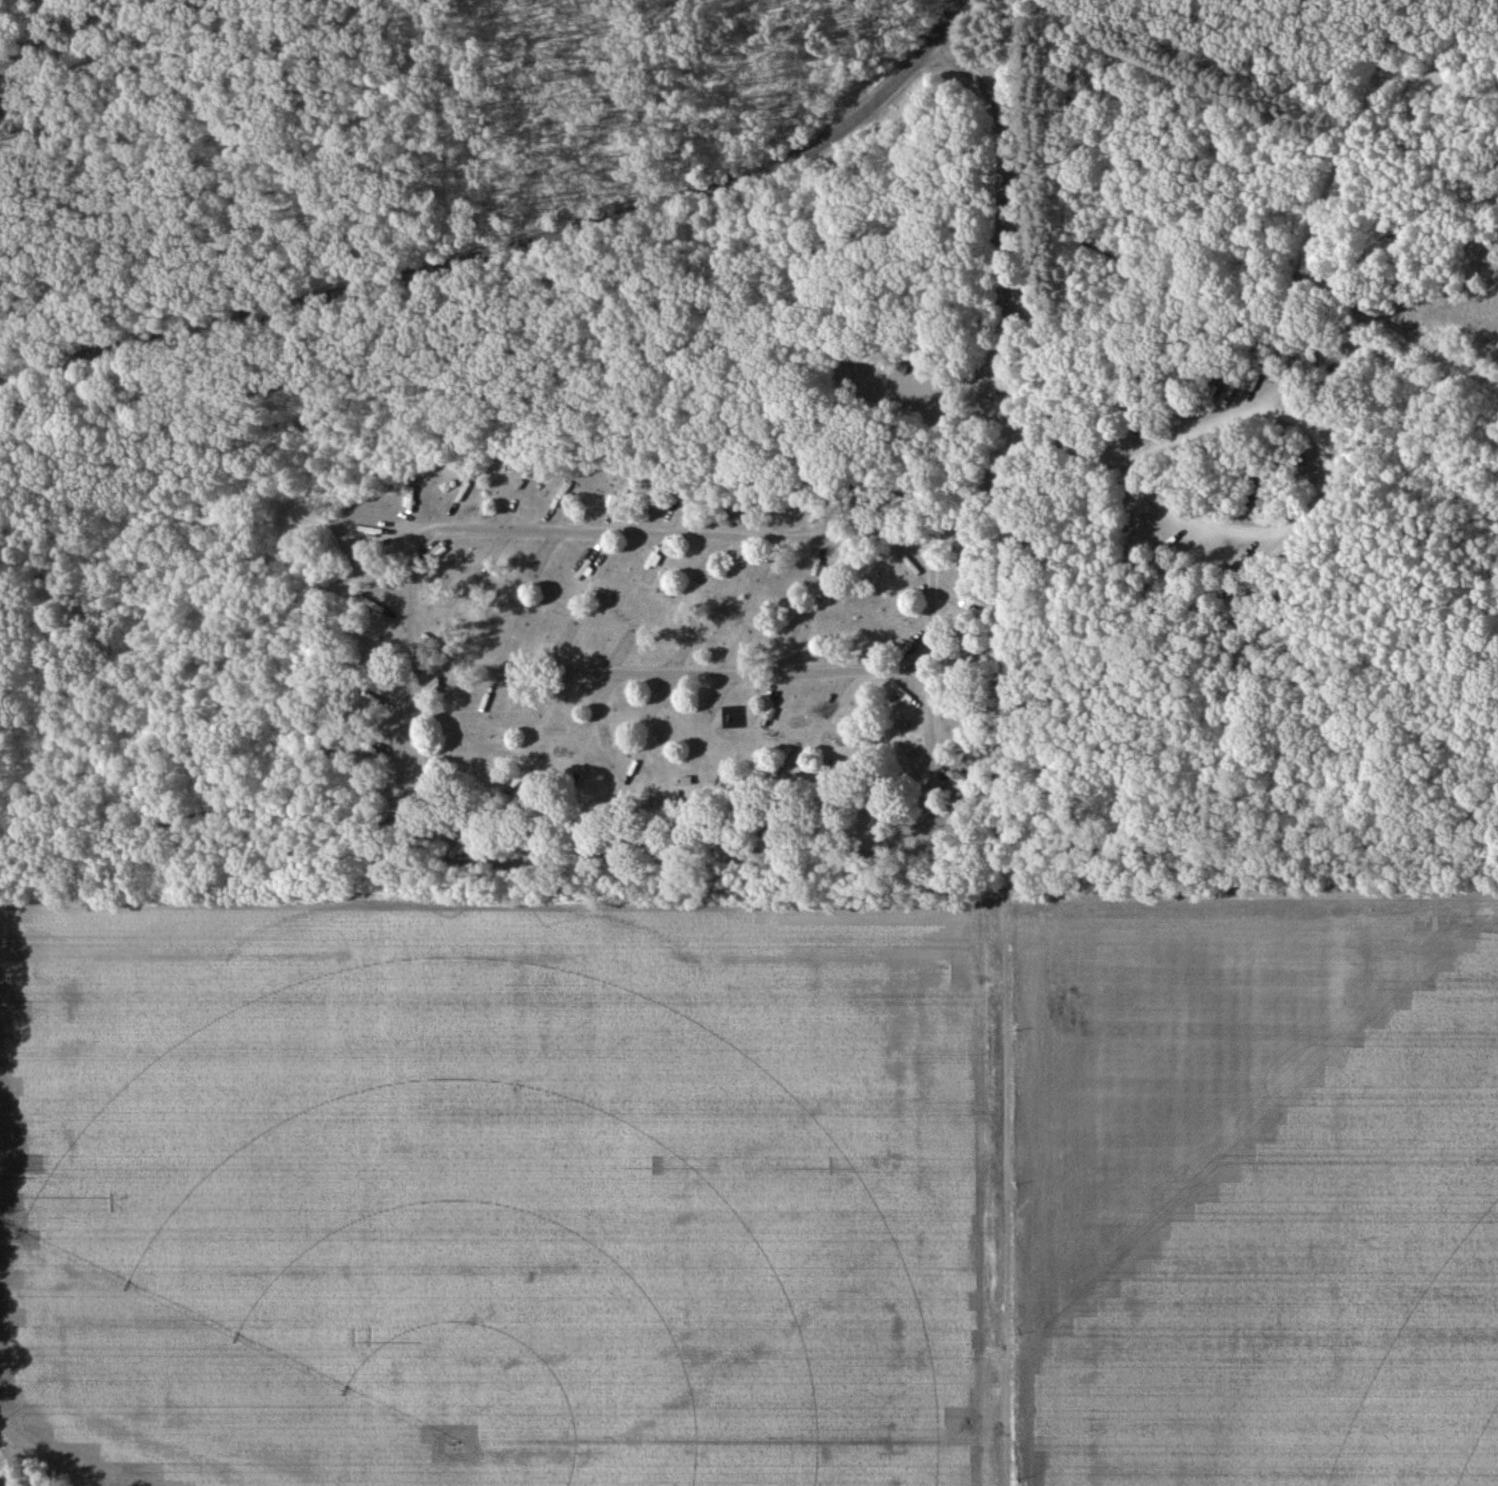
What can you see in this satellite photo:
road: (35, 57)
road: (1283, 99)
road: (510, 246)
road: (1048, 377)
road: (1304, 437)
road: (729, 534)
building: (913, 568)
building: (374, 604)
road: (664, 673)
road: (1236, 809)
road: (638, 832)
road: (975, 860)

